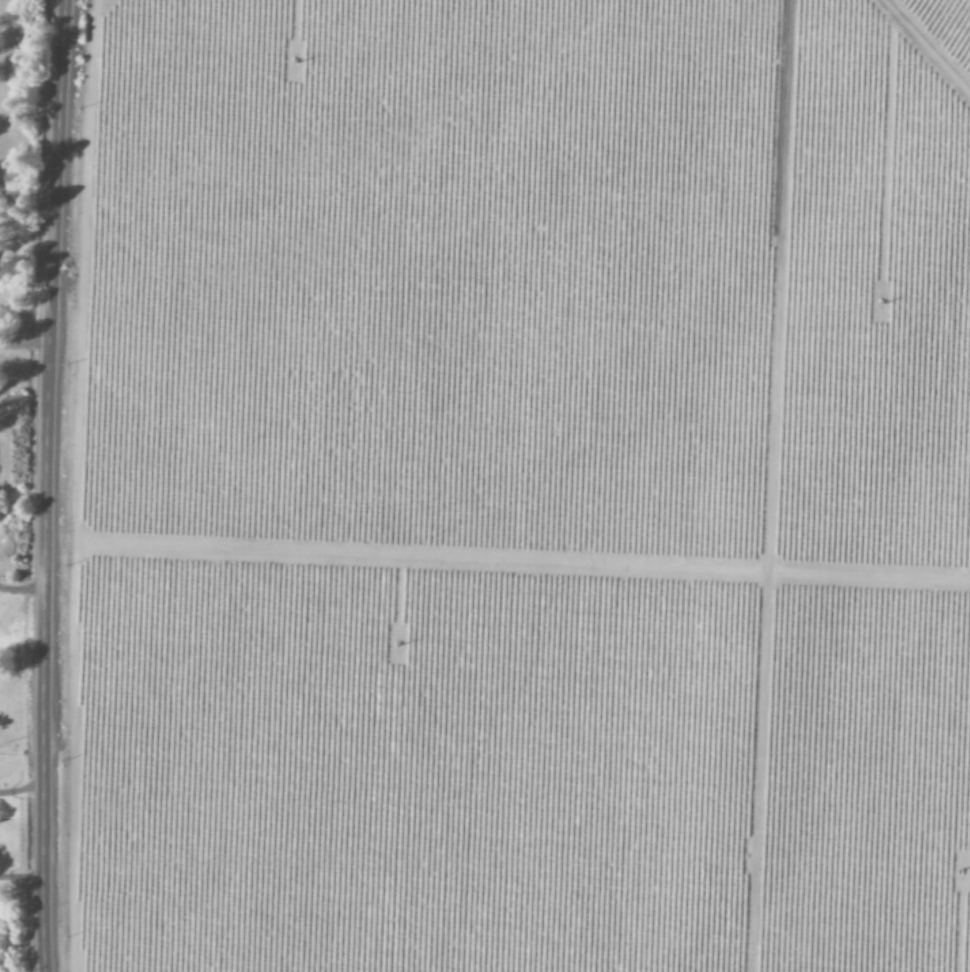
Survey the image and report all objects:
road: (25, 346)
road: (50, 485)

